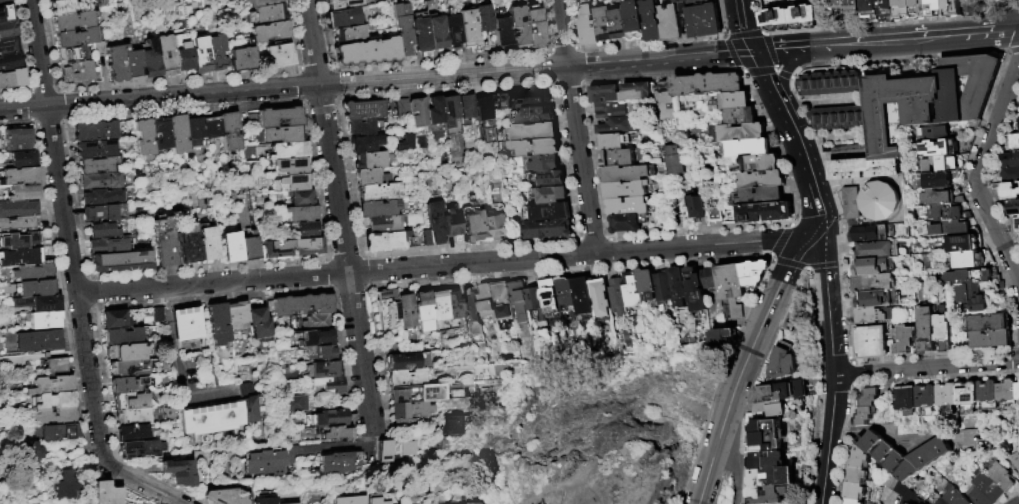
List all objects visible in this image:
building: (675, 0)
building: (683, 1)
building: (5, 2)
building: (260, 2)
building: (342, 3)
building: (837, 5)
building: (853, 5)
building: (69, 6)
building: (935, 8)
building: (951, 8)
building: (870, 9)
building: (918, 9)
building: (399, 10)
building: (886, 10)
building: (902, 10)
building: (265, 13)
building: (5, 14)
building: (802, 16)
building: (345, 17)
building: (703, 17)
road: (724, 17)
road: (759, 17)
building: (483, 18)
building: (775, 18)
building: (74, 20)
building: (635, 20)
building: (652, 20)
road: (921, 20)
building: (587, 22)
building: (671, 22)
building: (604, 23)
road: (570, 24)
building: (620, 24)
road: (744, 24)
road: (544, 25)
building: (517, 26)
building: (533, 27)
building: (467, 28)
building: (501, 29)
building: (8, 30)
road: (794, 30)
building: (452, 31)
building: (268, 32)
building: (436, 32)
building: (420, 33)
road: (991, 33)
road: (744, 34)
road: (325, 35)
building: (349, 35)
building: (403, 36)
road: (725, 36)
building: (77, 37)
road: (765, 41)
road: (311, 42)
road: (880, 42)
road: (648, 44)
building: (8, 45)
building: (98, 48)
road: (782, 48)
building: (200, 49)
road: (549, 49)
road: (562, 49)
traffic signals: (752, 49)
road: (760, 49)
building: (217, 51)
building: (366, 52)
road: (547, 52)
building: (184, 53)
road: (730, 53)
building: (72, 54)
building: (166, 55)
building: (279, 55)
building: (150, 57)
road: (659, 57)
road: (772, 57)
road: (23, 58)
building: (242, 59)
road: (439, 60)
building: (10, 61)
building: (132, 62)
building: (116, 63)
road: (328, 65)
road: (577, 65)
road: (312, 67)
road: (775, 67)
road: (550, 68)
road: (740, 69)
road: (774, 69)
road: (776, 70)
building: (78, 71)
road: (758, 71)
road: (658, 74)
road: (782, 74)
road: (783, 74)
road: (442, 76)
road: (766, 76)
building: (12, 78)
road: (167, 80)
road: (300, 82)
road: (335, 83)
road: (565, 83)
building: (707, 84)
building: (830, 84)
road: (54, 88)
road: (29, 89)
road: (41, 89)
road: (444, 89)
building: (636, 91)
road: (25, 93)
building: (605, 93)
road: (158, 96)
road: (336, 98)
building: (522, 98)
building: (665, 100)
road: (302, 101)
road: (318, 101)
building: (732, 101)
building: (926, 101)
road: (57, 102)
road: (27, 107)
building: (402, 107)
building: (466, 108)
building: (483, 108)
building: (610, 110)
building: (364, 111)
building: (435, 111)
building: (418, 112)
building: (451, 114)
road: (785, 114)
building: (535, 115)
building: (741, 116)
road: (62, 117)
building: (276, 117)
building: (836, 118)
road: (15, 123)
road: (31, 123)
road: (58, 123)
building: (1018, 123)
road: (46, 124)
building: (618, 125)
road: (575, 126)
building: (212, 127)
building: (362, 128)
building: (94, 131)
building: (229, 131)
building: (536, 131)
building: (194, 132)
building: (743, 132)
building: (935, 133)
building: (161, 134)
building: (279, 134)
building: (178, 135)
building: (145, 137)
building: (407, 139)
building: (18, 140)
building: (613, 141)
building: (1015, 141)
building: (365, 143)
building: (536, 147)
building: (751, 147)
building: (945, 147)
building: (95, 149)
building: (286, 151)
building: (618, 157)
building: (1011, 159)
building: (23, 160)
building: (370, 160)
road: (563, 161)
road: (594, 161)
building: (675, 161)
building: (547, 163)
building: (761, 163)
building: (942, 164)
building: (96, 165)
building: (291, 166)
road: (806, 169)
building: (864, 169)
road: (980, 171)
building: (627, 173)
building: (1010, 174)
building: (19, 176)
building: (372, 177)
building: (551, 178)
road: (333, 179)
building: (764, 179)
building: (101, 180)
building: (939, 180)
building: (290, 183)
building: (626, 189)
building: (1010, 190)
building: (24, 192)
building: (380, 192)
building: (552, 194)
building: (761, 196)
building: (102, 197)
building: (300, 198)
building: (938, 199)
building: (878, 201)
water tower: (879, 202)
building: (850, 204)
building: (628, 206)
building: (1012, 206)
building: (698, 207)
building: (377, 208)
building: (18, 209)
building: (552, 211)
building: (767, 212)
building: (105, 213)
building: (301, 214)
building: (947, 214)
traffic signals: (818, 216)
building: (436, 222)
building: (469, 222)
building: (20, 223)
building: (626, 223)
building: (383, 224)
building: (452, 224)
road: (780, 224)
building: (1015, 224)
building: (485, 225)
building: (501, 226)
building: (106, 229)
building: (549, 229)
building: (305, 230)
building: (952, 230)
building: (870, 234)
building: (426, 237)
road: (779, 239)
building: (19, 240)
building: (385, 241)
building: (163, 242)
building: (207, 244)
road: (710, 244)
building: (961, 244)
building: (109, 245)
building: (185, 245)
building: (307, 246)
building: (230, 247)
building: (248, 247)
building: (276, 249)
building: (876, 250)
road: (357, 253)
road: (391, 253)
road: (327, 255)
road: (342, 255)
building: (20, 257)
road: (362, 257)
building: (971, 260)
road: (324, 261)
building: (120, 262)
road: (471, 262)
building: (873, 266)
road: (805, 268)
road: (364, 270)
building: (33, 272)
building: (753, 272)
road: (85, 274)
road: (327, 274)
road: (535, 274)
road: (73, 275)
road: (85, 277)
building: (709, 277)
building: (967, 277)
building: (730, 281)
building: (644, 282)
road: (211, 283)
road: (368, 283)
building: (871, 283)
road: (781, 284)
building: (661, 285)
building: (677, 286)
road: (330, 287)
building: (34, 288)
building: (629, 288)
road: (364, 289)
building: (694, 289)
road: (350, 290)
road: (86, 292)
road: (335, 292)
building: (549, 295)
building: (564, 296)
building: (615, 296)
building: (580, 297)
building: (597, 297)
building: (971, 297)
building: (501, 299)
building: (517, 299)
building: (534, 299)
building: (877, 299)
building: (485, 300)
building: (38, 303)
building: (452, 303)
building: (302, 304)
building: (436, 304)
building: (469, 304)
road: (91, 307)
building: (384, 307)
building: (735, 308)
building: (403, 309)
building: (421, 310)
road: (90, 311)
building: (237, 315)
building: (872, 315)
building: (158, 316)
building: (45, 320)
building: (115, 320)
building: (316, 322)
building: (984, 323)
building: (186, 324)
building: (259, 325)
building: (218, 326)
building: (924, 329)
building: (941, 330)
road: (68, 334)
building: (721, 337)
building: (122, 338)
building: (315, 338)
building: (901, 339)
building: (989, 339)
building: (39, 341)
building: (870, 343)
building: (126, 353)
building: (320, 353)
road: (360, 355)
road: (763, 357)
road: (834, 359)
building: (406, 361)
building: (782, 363)
road: (175, 365)
road: (926, 367)
building: (55, 368)
building: (133, 369)
building: (322, 370)
building: (407, 377)
building: (51, 385)
building: (329, 385)
building: (130, 386)
building: (1006, 390)
building: (1017, 390)
building: (780, 391)
building: (986, 391)
building: (946, 393)
building: (967, 393)
road: (736, 394)
building: (926, 395)
building: (433, 396)
building: (869, 396)
building: (905, 397)
building: (55, 401)
building: (131, 403)
building: (249, 403)
building: (297, 404)
building: (411, 409)
building: (771, 409)
road: (624, 414)
building: (230, 415)
building: (866, 416)
building: (56, 417)
building: (133, 418)
building: (200, 419)
building: (326, 419)
building: (401, 423)
building: (452, 425)
park: (601, 425)
building: (58, 430)
building: (338, 433)
building: (133, 435)
building: (765, 435)
building: (394, 449)
building: (141, 450)
building: (29, 454)
building: (929, 454)
building: (856, 456)
road: (600, 457)
building: (1014, 458)
building: (768, 459)
building: (265, 462)
building: (340, 462)
road: (735, 462)
road: (741, 466)
road: (713, 469)
building: (179, 473)
building: (856, 474)
building: (772, 476)
building: (1002, 477)
road: (720, 486)
building: (987, 486)
building: (64, 487)
building: (853, 490)
building: (107, 493)
building: (901, 493)
building: (768, 494)
building: (954, 495)
building: (226, 496)
building: (979, 497)
building: (263, 498)
building: (379, 499)
building: (936, 499)
building: (349, 500)
building: (851, 501)
building: (294, 503)
building: (485, 503)

